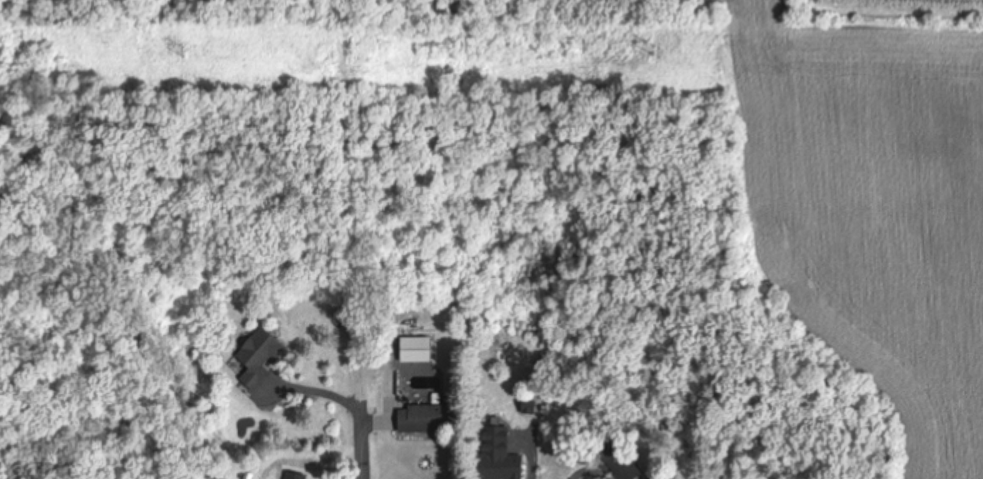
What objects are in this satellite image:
power tower: (188, 52)
power tower: (660, 53)
crop: (874, 211)
building: (261, 361)
building: (431, 419)
road: (362, 427)
building: (500, 455)

